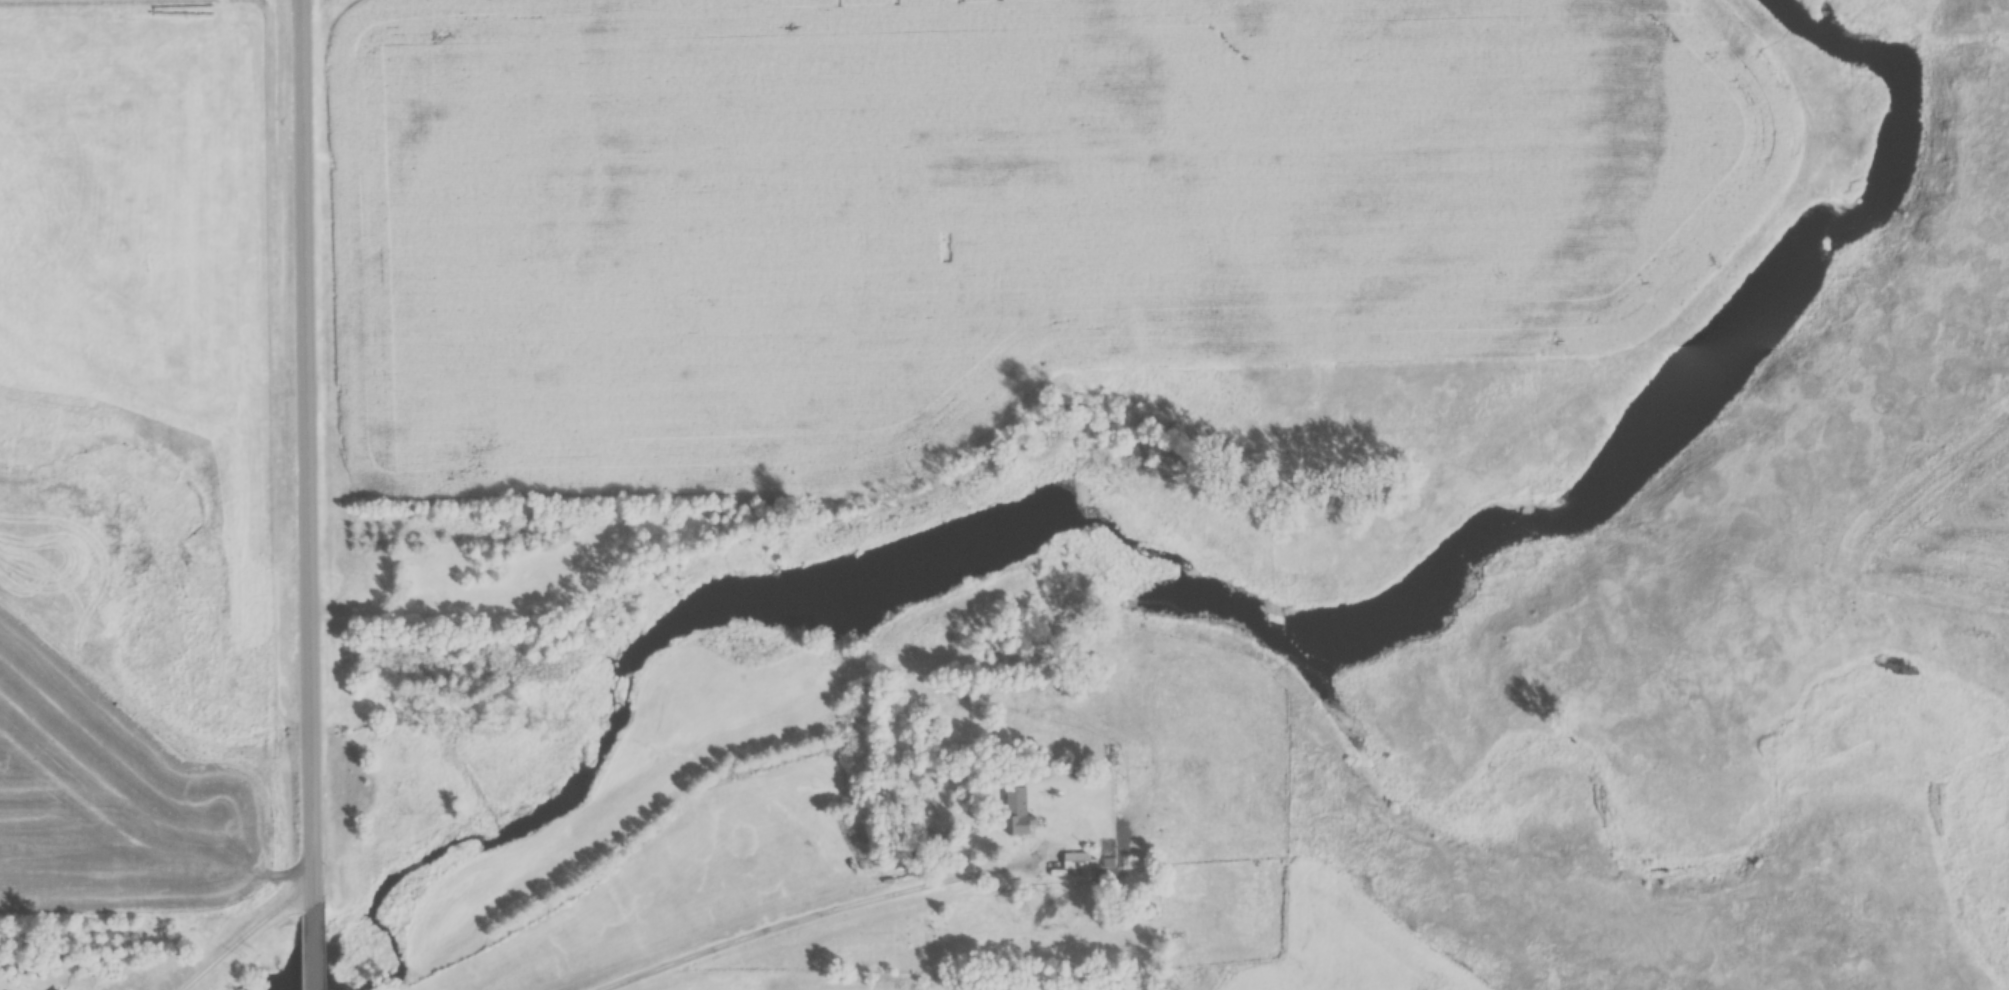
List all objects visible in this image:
road: (306, 494)
building: (1170, 779)
building: (1015, 812)
building: (1067, 864)
building: (1130, 864)

